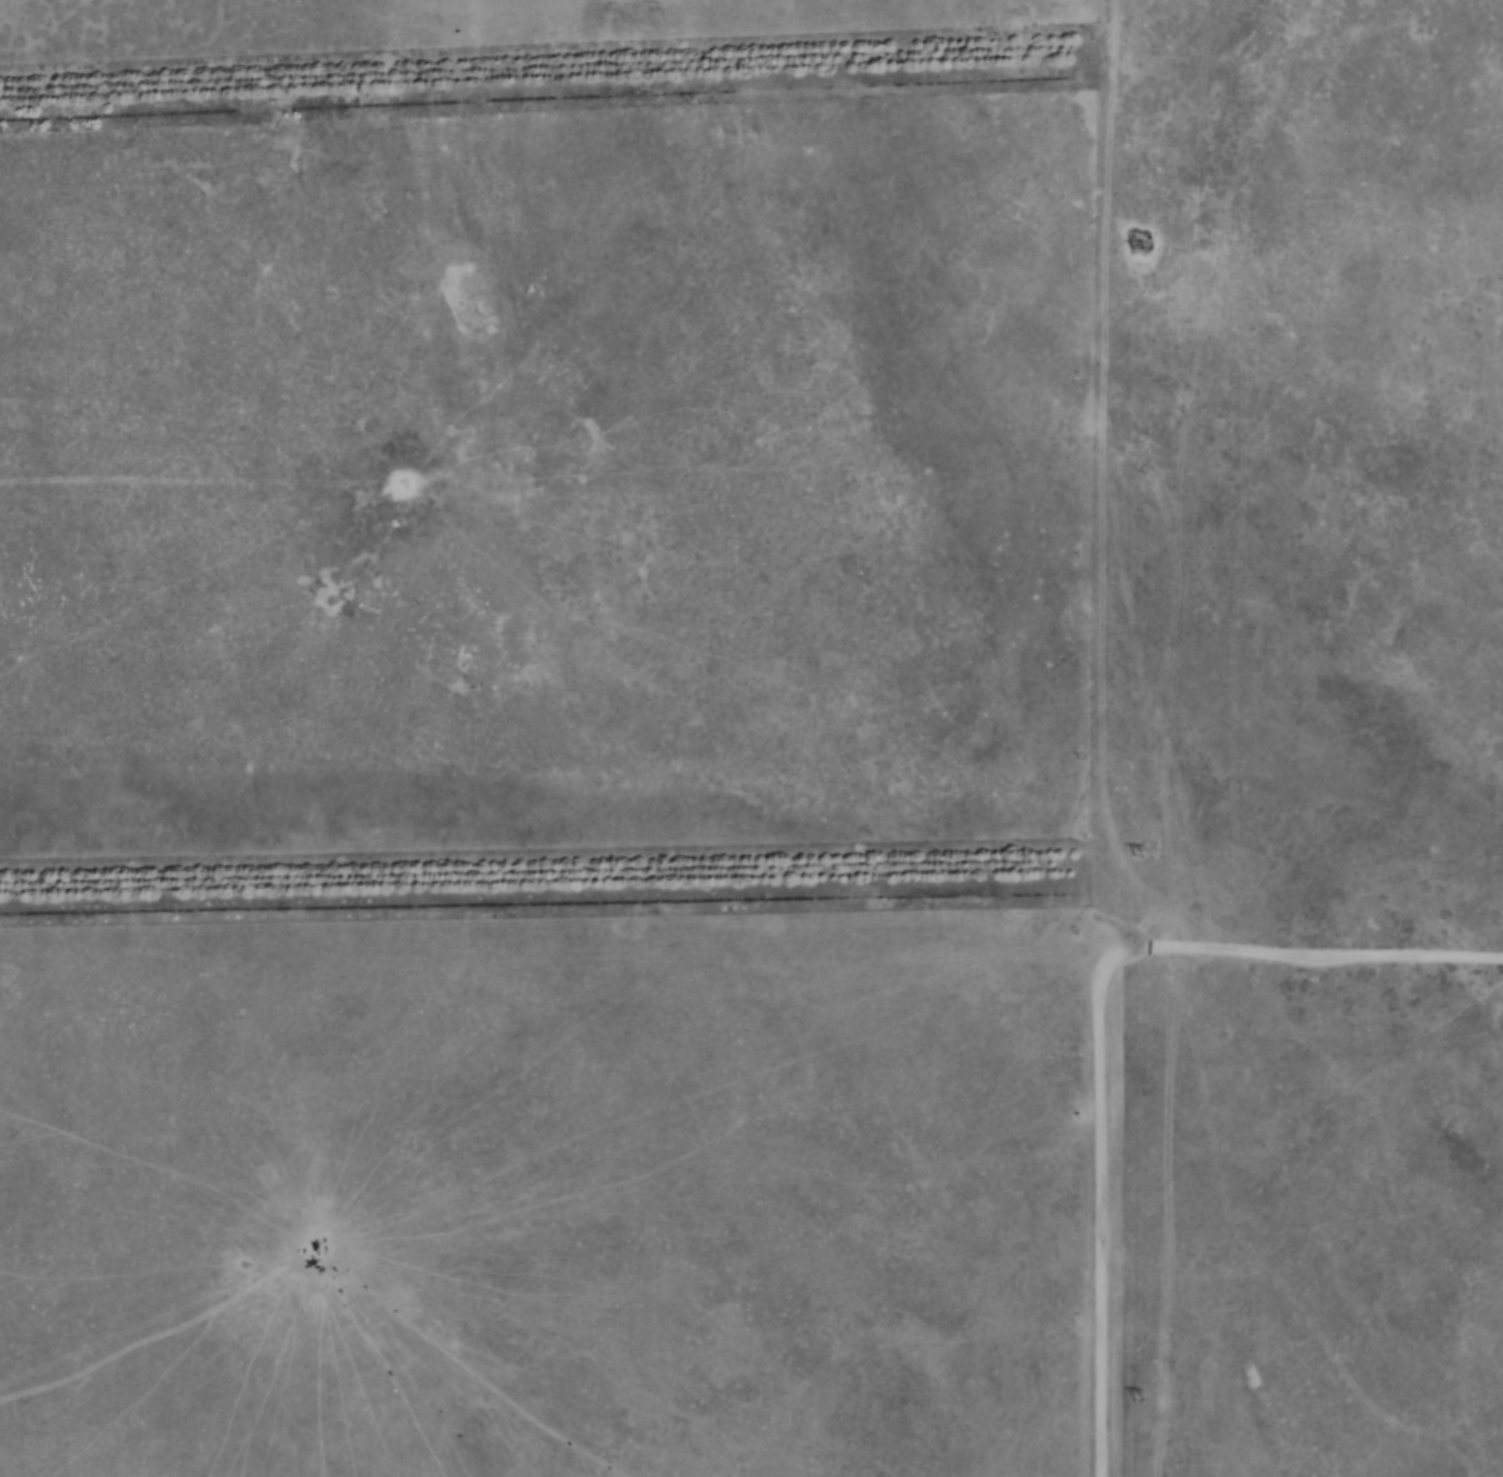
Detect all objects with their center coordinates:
power tower: (1136, 254)
power tower: (1136, 856)
power tower: (1134, 1401)

